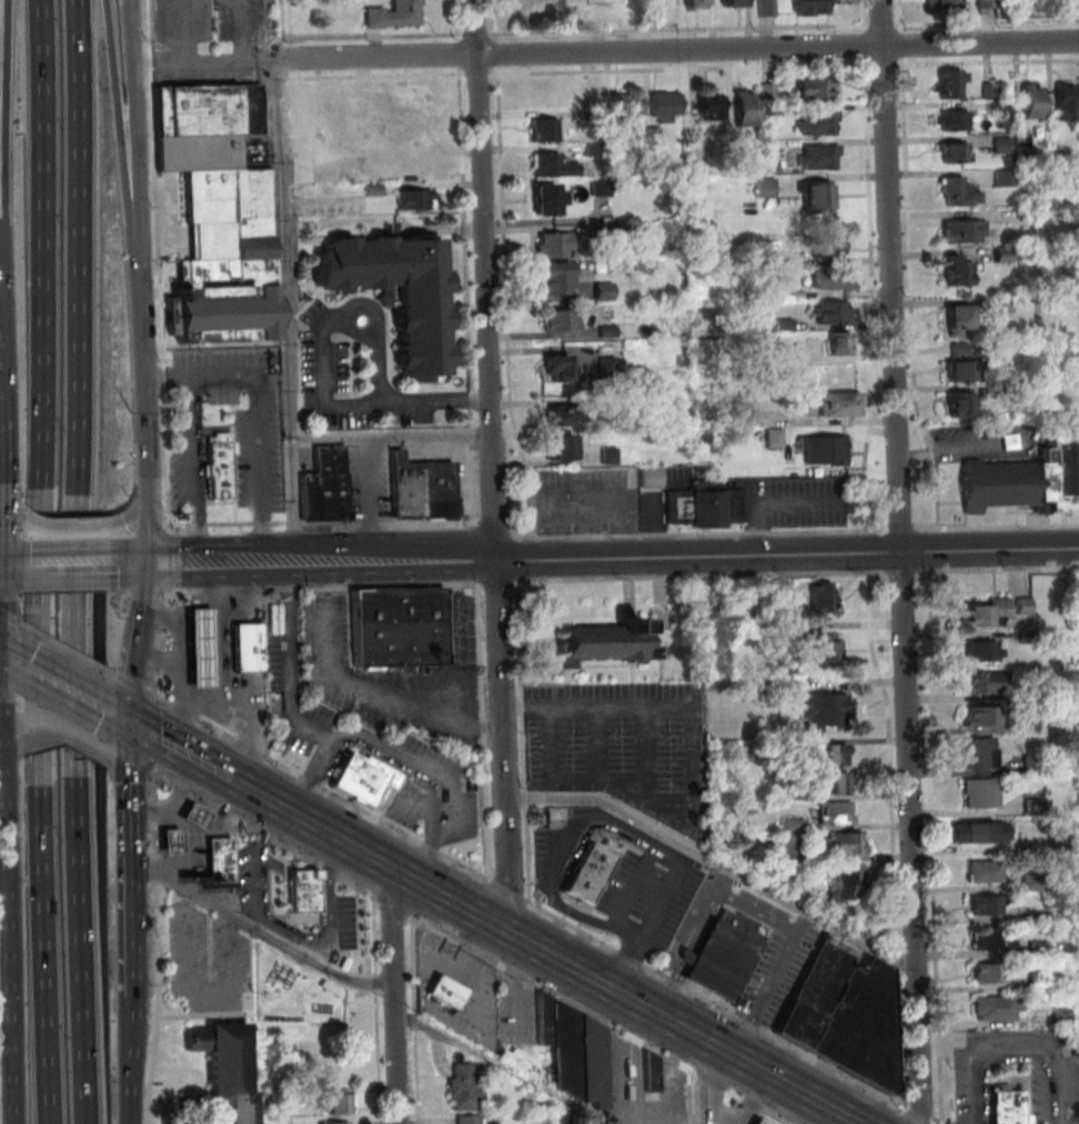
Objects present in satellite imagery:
building: (988, 3)
building: (948, 4)
building: (698, 7)
building: (735, 7)
building: (548, 8)
building: (814, 8)
building: (769, 9)
road: (904, 16)
building: (399, 17)
road: (866, 17)
road: (500, 20)
parking lot: (215, 21)
road: (461, 21)
road: (988, 22)
road: (153, 24)
road: (885, 24)
road: (189, 29)
road: (243, 29)
road: (684, 30)
road: (482, 34)
road: (373, 38)
road: (867, 46)
road: (905, 46)
road: (677, 50)
road: (282, 52)
road: (462, 54)
road: (500, 54)
road: (154, 56)
road: (206, 60)
road: (988, 62)
road: (885, 64)
road: (684, 69)
road: (482, 73)
road: (375, 74)
road: (280, 77)
building: (952, 82)
building: (819, 89)
building: (991, 91)
building: (770, 92)
building: (1033, 101)
building: (1068, 101)
building: (712, 104)
road: (278, 106)
building: (627, 106)
building: (666, 106)
building: (1004, 106)
building: (746, 109)
road: (138, 111)
road: (117, 112)
building: (773, 112)
building: (333, 117)
building: (955, 121)
building: (819, 123)
building: (544, 128)
road: (4, 132)
building: (655, 137)
building: (1004, 145)
building: (593, 150)
building: (957, 152)
building: (1028, 157)
building: (820, 158)
road: (280, 159)
building: (361, 159)
building: (551, 164)
building: (412, 167)
building: (1007, 179)
building: (219, 181)
building: (372, 188)
building: (604, 188)
building: (767, 189)
building: (960, 192)
building: (818, 194)
building: (414, 198)
building: (546, 198)
parking lot: (173, 221)
building: (965, 232)
building: (621, 233)
building: (554, 243)
road: (466, 245)
building: (828, 247)
building: (1006, 254)
building: (796, 260)
building: (959, 271)
building: (552, 277)
building: (837, 279)
road: (292, 280)
building: (395, 290)
building: (606, 291)
road: (140, 293)
building: (800, 294)
road: (285, 297)
building: (383, 297)
road: (875, 297)
road: (912, 297)
road: (379, 301)
road: (334, 303)
road: (508, 304)
building: (1005, 305)
building: (834, 312)
building: (959, 317)
fountain: (362, 318)
building: (559, 319)
building: (786, 324)
building: (609, 329)
road: (350, 331)
building: (843, 343)
road: (376, 344)
building: (790, 353)
building: (962, 364)
road: (351, 365)
building: (557, 365)
building: (609, 368)
parking lot: (326, 371)
road: (163, 374)
road: (393, 381)
building: (1004, 393)
road: (352, 399)
road: (482, 399)
road: (161, 400)
road: (352, 403)
building: (960, 403)
building: (840, 404)
road: (141, 408)
building: (565, 413)
building: (748, 418)
road: (261, 430)
road: (468, 432)
road: (392, 434)
road: (291, 435)
building: (776, 439)
building: (561, 445)
building: (826, 449)
building: (611, 455)
building: (215, 463)
road: (495, 465)
road: (192, 469)
road: (142, 472)
building: (653, 476)
building: (1027, 476)
road: (371, 479)
road: (471, 480)
building: (327, 484)
building: (409, 485)
building: (440, 489)
road: (135, 503)
road: (295, 504)
building: (708, 505)
road: (9, 512)
road: (321, 522)
road: (74, 523)
road: (997, 526)
road: (145, 529)
road: (902, 529)
road: (141, 530)
road: (500, 531)
road: (128, 533)
road: (703, 533)
road: (10, 534)
road: (72, 534)
road: (937, 551)
road: (869, 552)
road: (788, 553)
road: (167, 559)
road: (904, 561)
road: (40, 562)
road: (78, 562)
road: (430, 563)
road: (291, 565)
road: (69, 566)
road: (130, 566)
road: (10, 568)
road: (182, 568)
traffic signals: (141, 569)
road: (1008, 571)
road: (928, 574)
road: (905, 575)
road: (705, 576)
road: (351, 584)
road: (214, 589)
road: (179, 590)
building: (820, 595)
road: (288, 596)
building: (1022, 604)
building: (986, 612)
road: (163, 614)
road: (163, 615)
building: (273, 616)
road: (10, 619)
road: (135, 621)
road: (200, 622)
road: (216, 622)
building: (400, 632)
road: (221, 636)
road: (160, 638)
building: (609, 640)
road: (541, 643)
building: (200, 645)
building: (248, 645)
road: (62, 648)
building: (823, 649)
building: (981, 649)
road: (158, 659)
road: (11, 661)
road: (155, 661)
road: (201, 661)
road: (218, 661)
road: (598, 666)
road: (108, 672)
parking lot: (395, 676)
road: (290, 679)
road: (127, 681)
building: (979, 681)
road: (151, 682)
parking lot: (292, 684)
road: (523, 685)
road: (571, 688)
road: (63, 690)
road: (11, 696)
road: (122, 698)
road: (150, 698)
road: (225, 709)
building: (824, 709)
building: (979, 715)
road: (113, 716)
road: (0, 722)
traffic signals: (123, 722)
road: (63, 723)
road: (485, 731)
road: (219, 732)
road: (149, 736)
road: (63, 737)
road: (357, 737)
road: (326, 741)
road: (10, 743)
road: (602, 743)
parking lot: (626, 747)
road: (175, 751)
building: (977, 752)
road: (123, 753)
road: (649, 753)
building: (834, 754)
road: (893, 759)
road: (125, 761)
building: (1031, 762)
road: (114, 770)
road: (1, 774)
road: (695, 775)
road: (159, 777)
building: (362, 779)
road: (424, 779)
road: (305, 780)
road: (307, 781)
building: (837, 782)
road: (149, 785)
building: (979, 791)
building: (798, 792)
parking lot: (435, 793)
road: (527, 799)
road: (200, 800)
building: (193, 813)
building: (837, 813)
road: (367, 814)
road: (614, 820)
building: (795, 825)
building: (978, 831)
road: (588, 835)
road: (150, 840)
building: (168, 840)
building: (794, 842)
building: (846, 844)
road: (427, 845)
road: (930, 845)
road: (605, 846)
road: (127, 847)
parking lot: (553, 851)
road: (426, 853)
road: (528, 854)
road: (300, 855)
building: (219, 856)
road: (716, 861)
road: (464, 865)
building: (982, 870)
building: (591, 872)
parking lot: (258, 882)
building: (847, 883)
road: (605, 887)
building: (799, 887)
road: (636, 890)
building: (305, 891)
road: (508, 891)
parking lot: (654, 895)
building: (984, 903)
road: (390, 905)
road: (571, 909)
road: (700, 912)
road: (708, 923)
road: (281, 932)
road: (373, 935)
road: (269, 936)
road: (8, 937)
building: (989, 937)
road: (130, 944)
road: (542, 952)
building: (725, 954)
road: (689, 956)
parking lot: (202, 957)
road: (899, 960)
road: (413, 964)
road: (683, 969)
parking lot: (779, 971)
building: (987, 972)
road: (376, 984)
building: (447, 991)
road: (552, 993)
road: (767, 994)
road: (393, 995)
road: (153, 1003)
street lamp: (409, 1004)
building: (994, 1005)
road: (728, 1012)
building: (847, 1012)
road: (192, 1014)
building: (1060, 1015)
road: (415, 1018)
road: (901, 1038)
road: (1018, 1042)
building: (574, 1051)
road: (131, 1052)
road: (377, 1058)
road: (506, 1066)
building: (226, 1070)
building: (336, 1071)
building: (649, 1071)
road: (416, 1074)
road: (710, 1080)
road: (709, 1084)
building: (464, 1087)
road: (692, 1096)
road: (177, 1098)
building: (335, 1101)
building: (1007, 1105)
road: (729, 1107)
road: (760, 1107)
building: (566, 1116)
road: (835, 1118)
building: (468, 1120)
road: (723, 1122)
building: (760, 1122)
building: (336, 1123)

